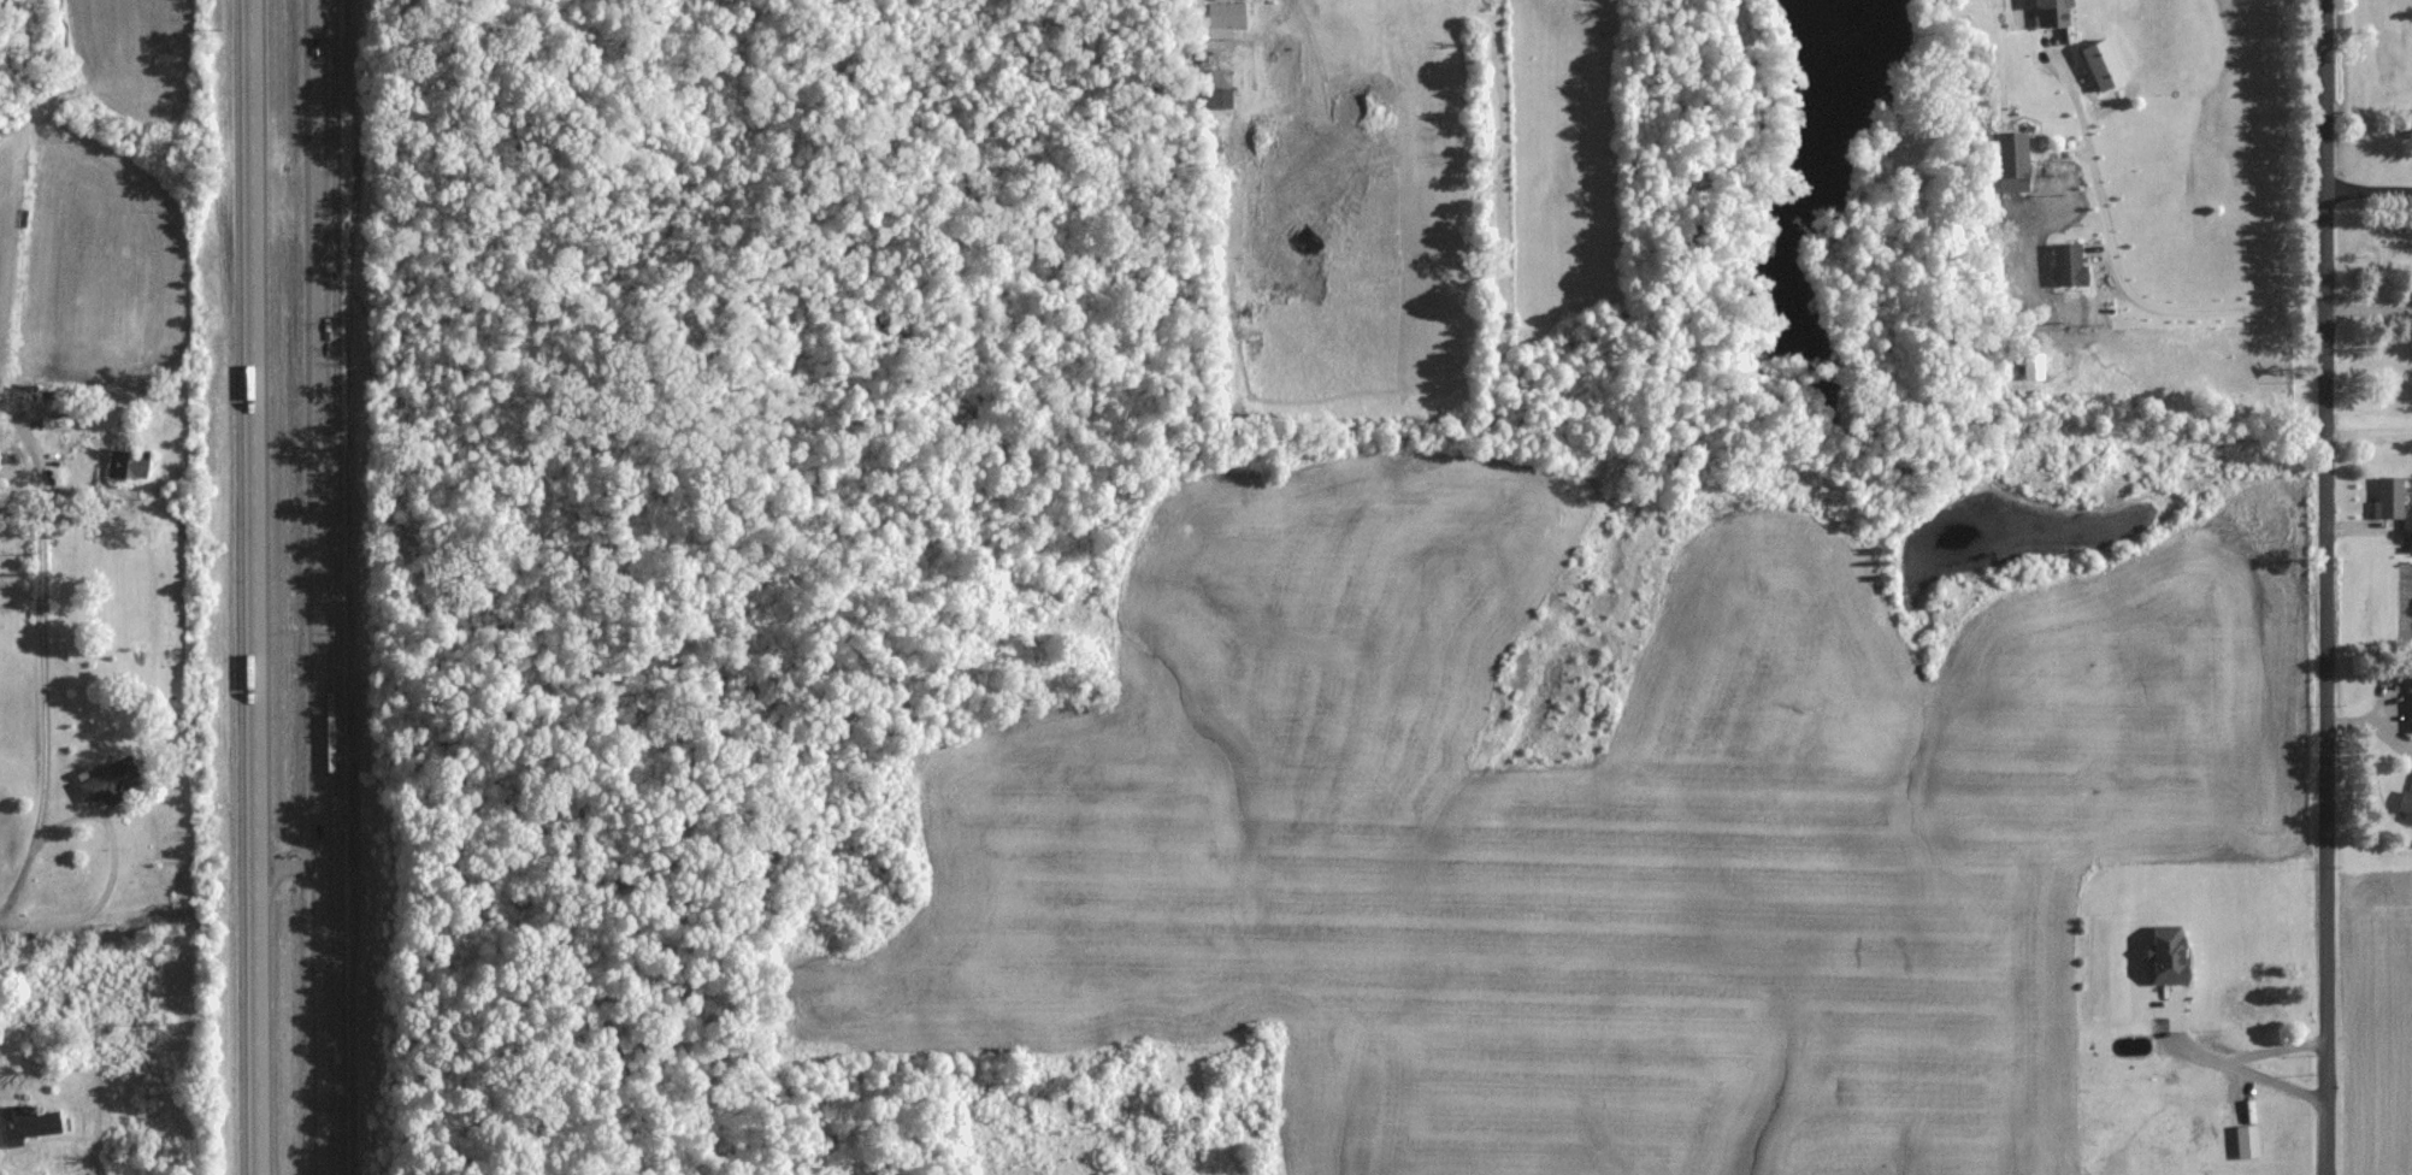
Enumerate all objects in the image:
building: (2053, 13)
building: (1216, 87)
building: (2012, 154)
road: (2370, 196)
building: (2068, 264)
road: (2121, 290)
road: (2370, 306)
building: (42, 411)
road: (2370, 437)
building: (2387, 500)
building: (2407, 530)
road: (249, 587)
road: (326, 587)
road: (2329, 587)
road: (42, 643)
building: (2410, 707)
building: (106, 779)
building: (2406, 804)
road: (117, 825)
road: (290, 863)
building: (2169, 953)
road: (2187, 1046)
road: (2281, 1051)
road: (2278, 1088)
building: (29, 1123)
building: (2246, 1140)

